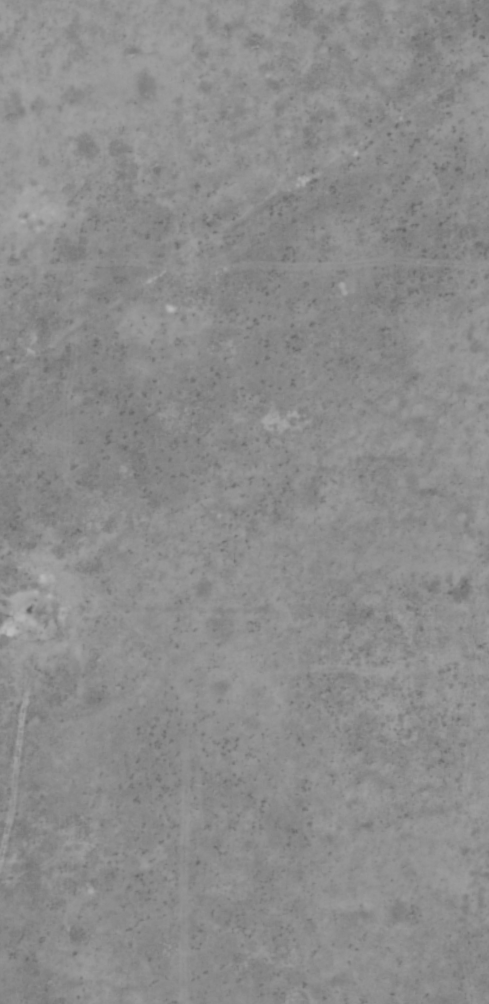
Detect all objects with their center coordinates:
road: (58, 687)

